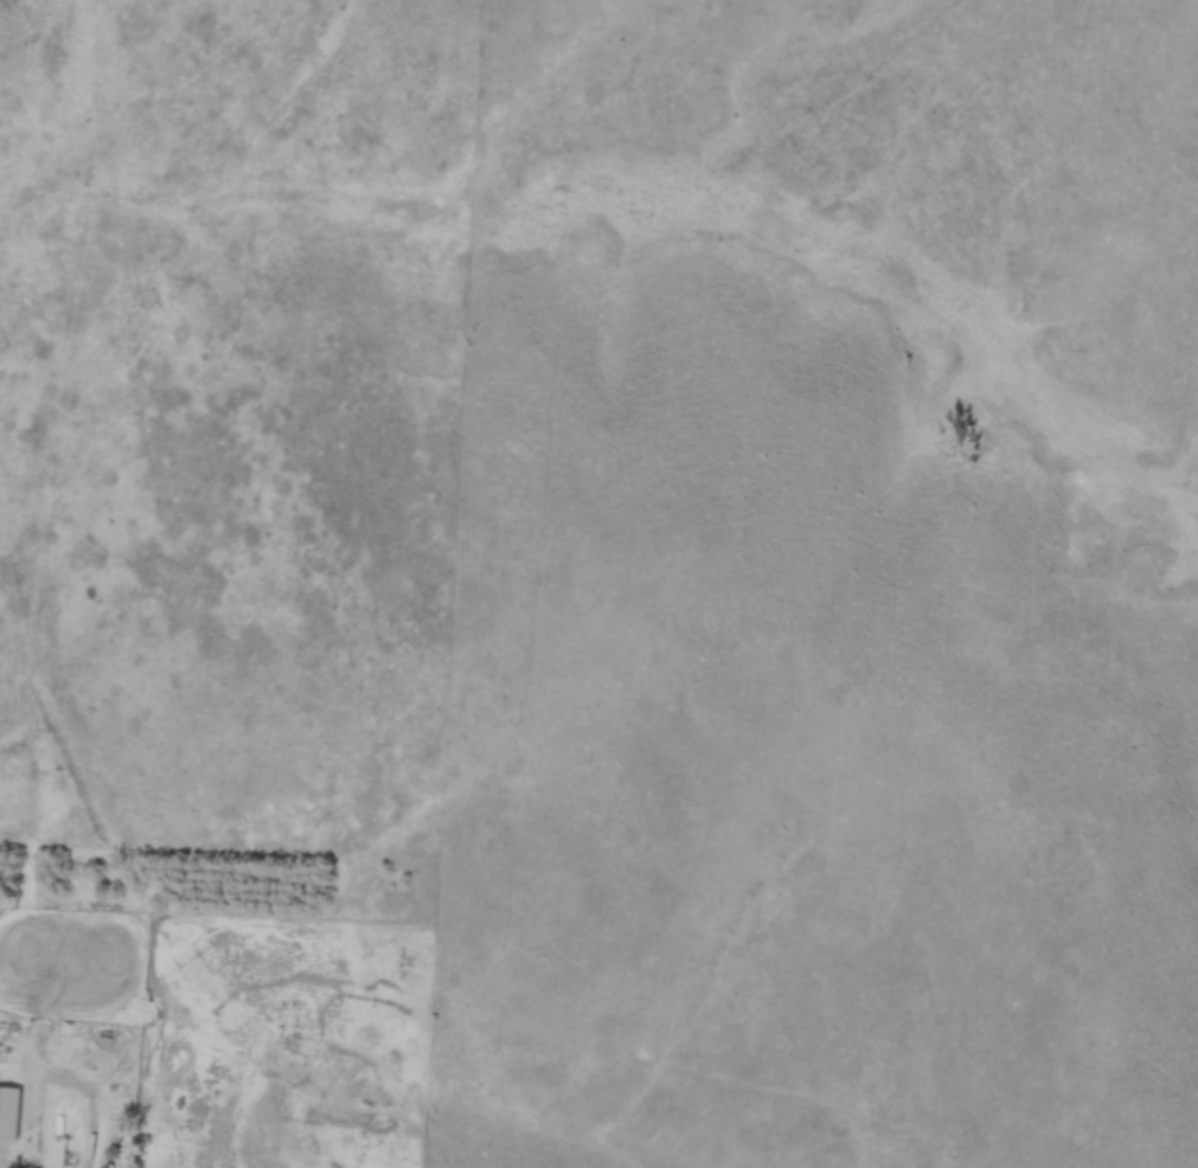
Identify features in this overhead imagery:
building: (9, 1114)
building: (57, 1155)

